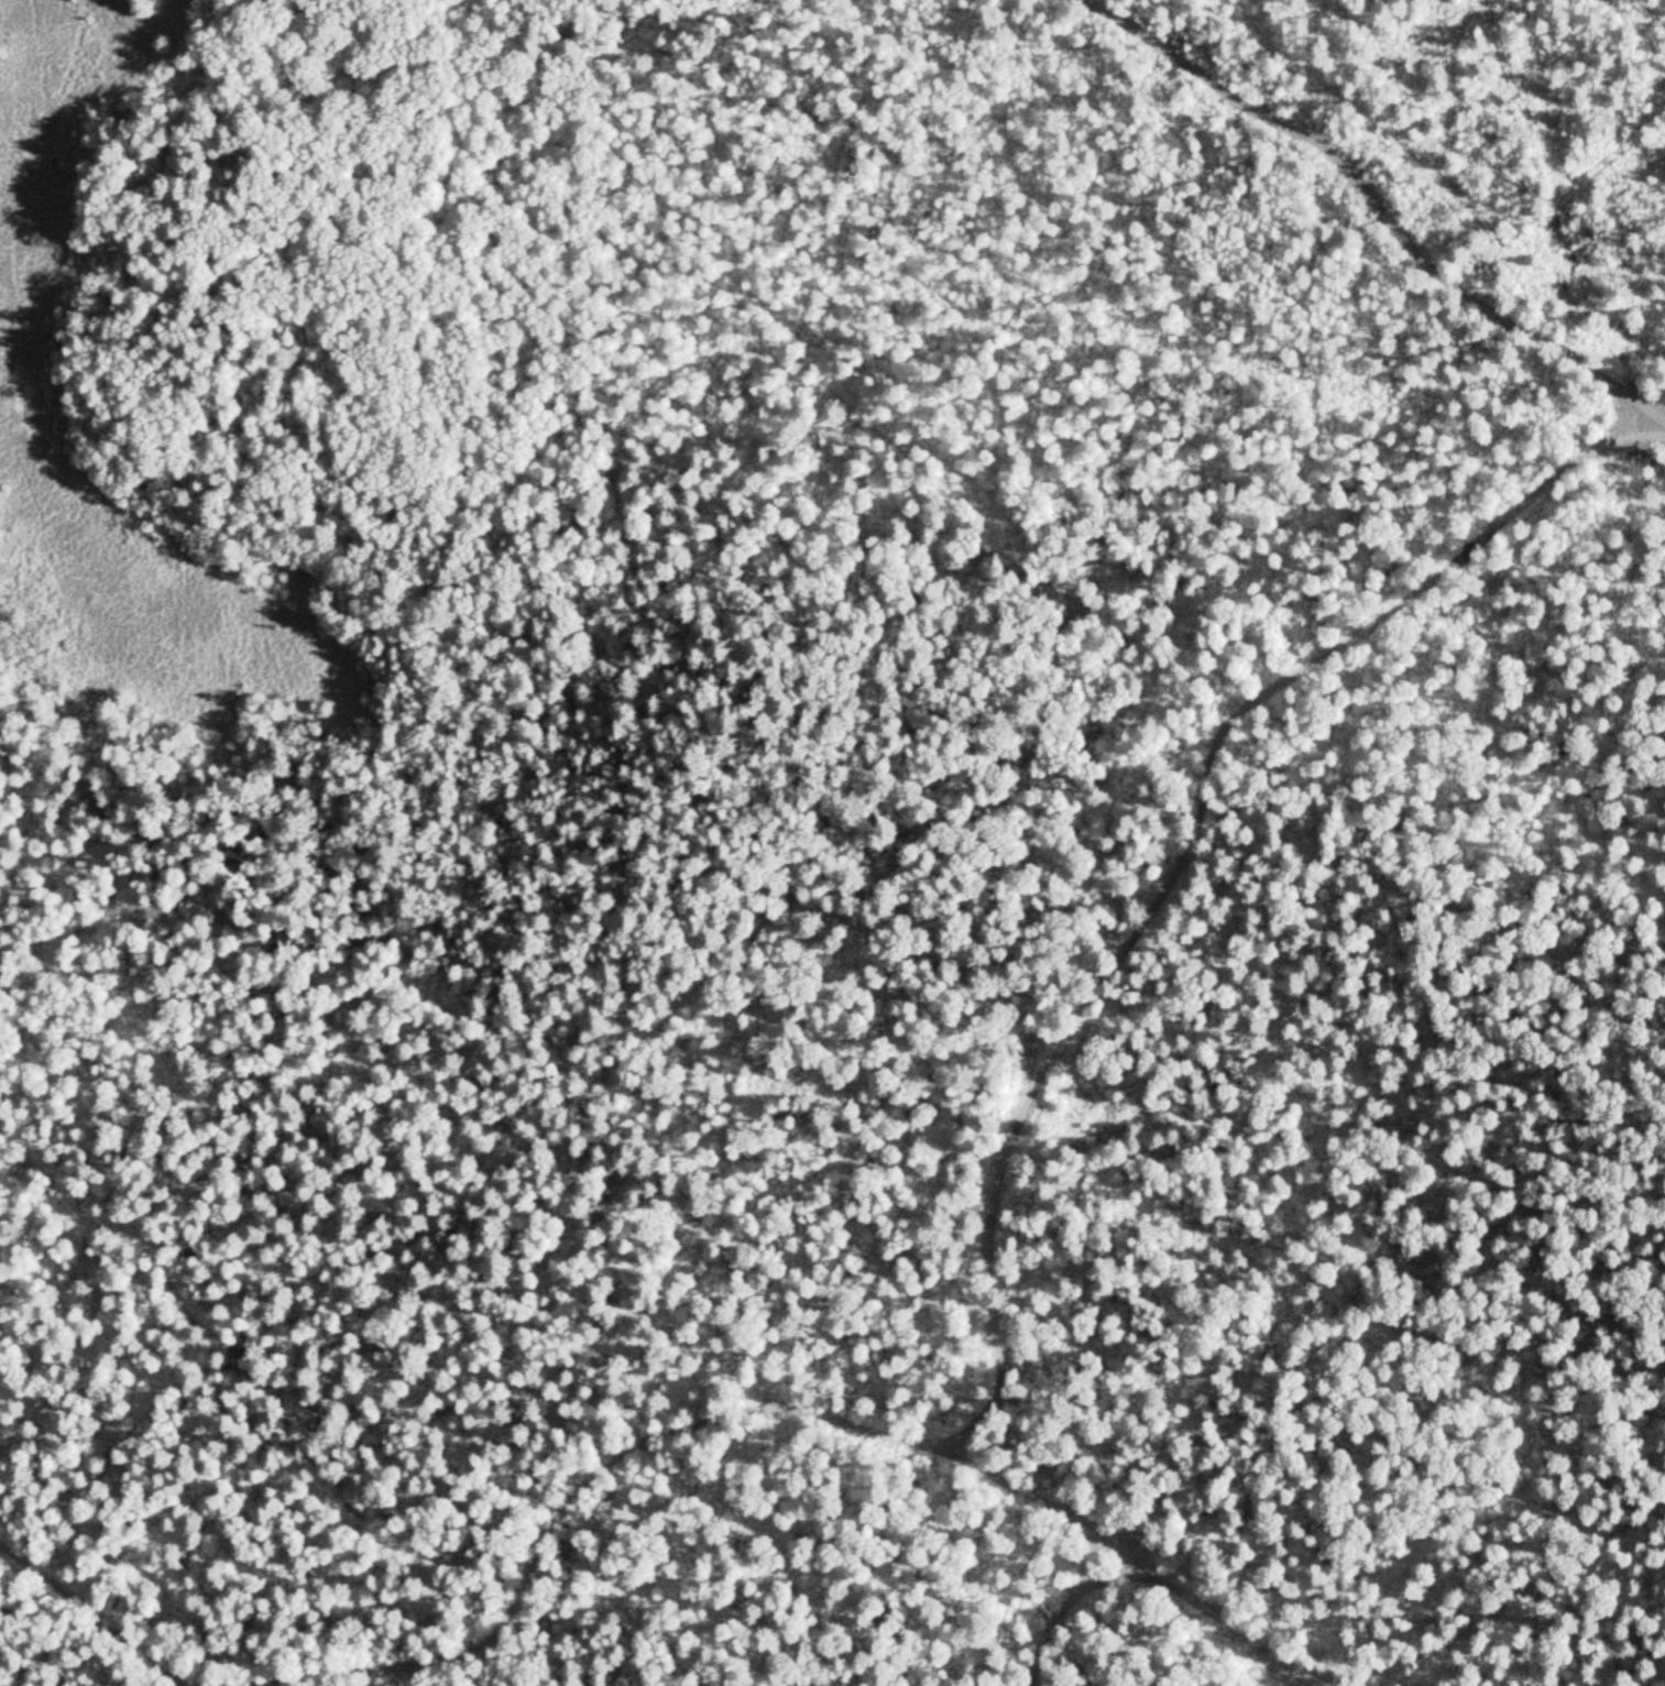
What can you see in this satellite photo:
road: (790, 1425)
road: (61, 1601)

